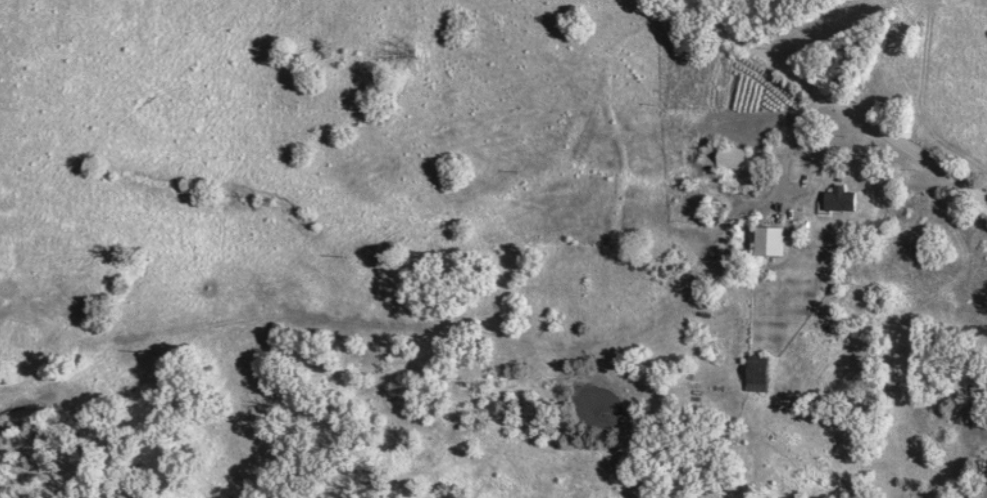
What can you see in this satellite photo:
road: (833, 114)
building: (725, 158)
building: (840, 201)
building: (771, 242)
building: (758, 374)

